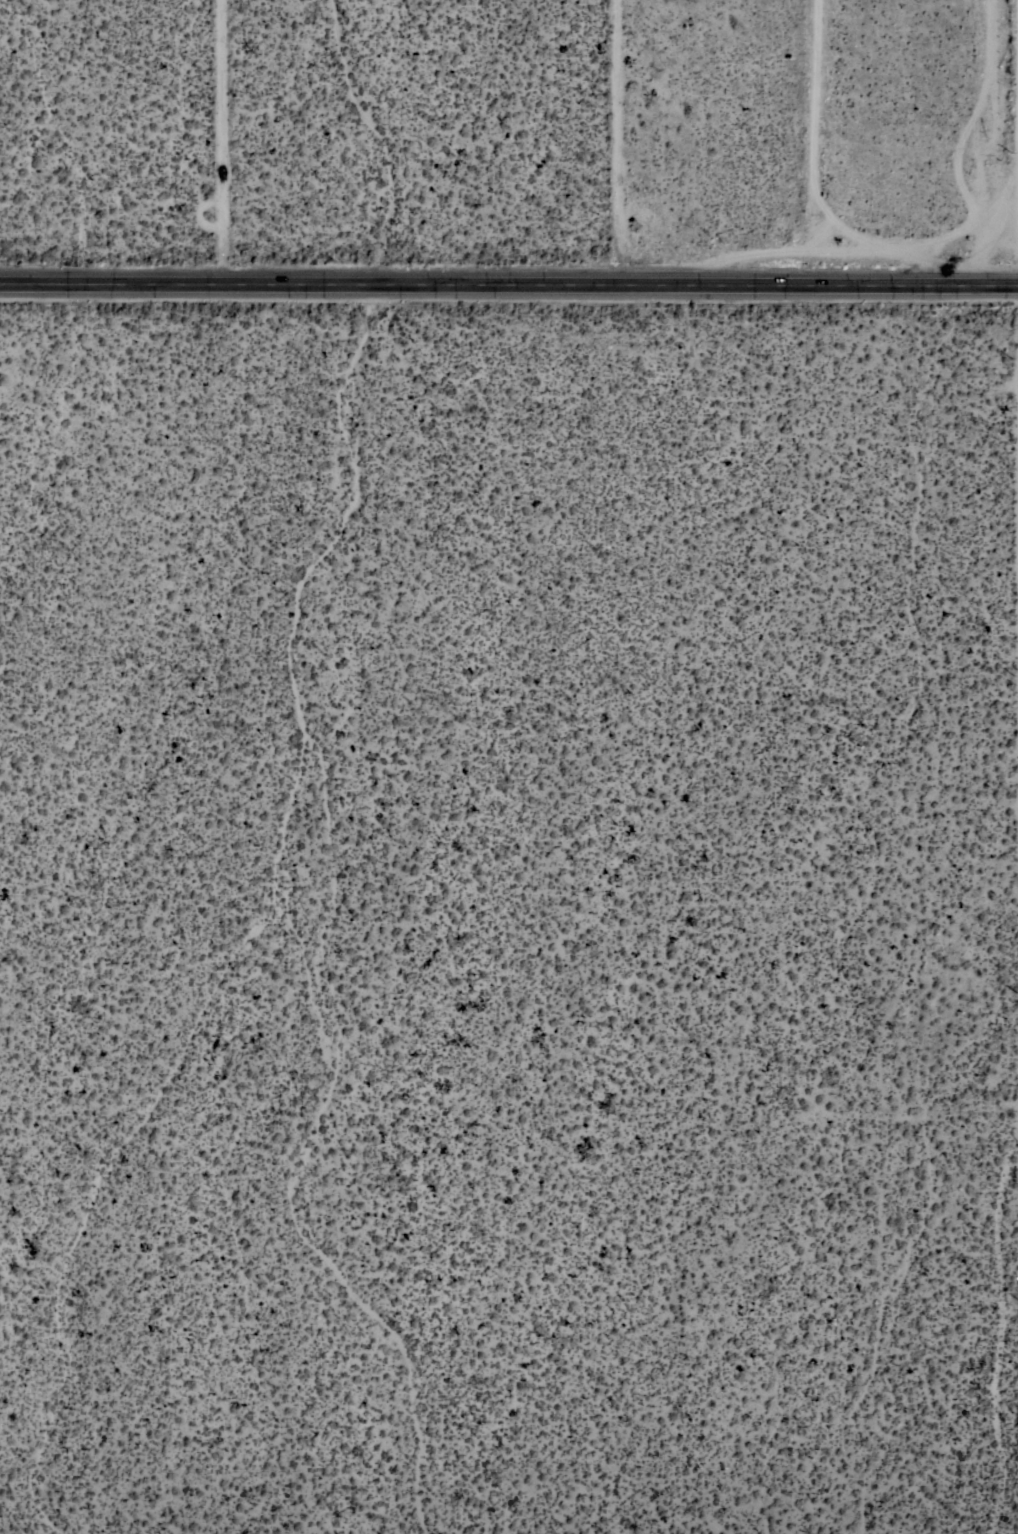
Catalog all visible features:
road: (225, 142)
road: (987, 143)
road: (509, 284)

